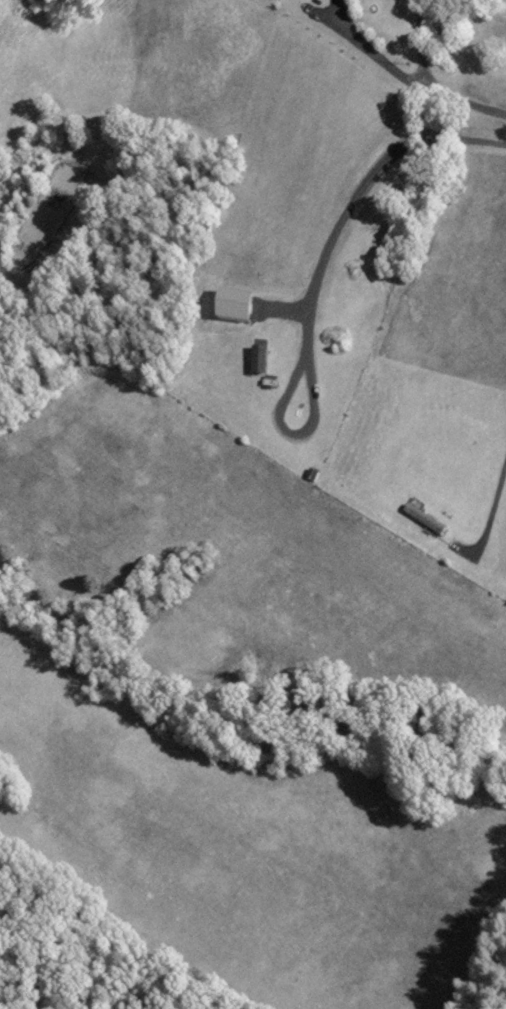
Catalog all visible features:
road: (368, 55)
road: (424, 85)
road: (366, 180)
road: (493, 507)
building: (426, 519)

